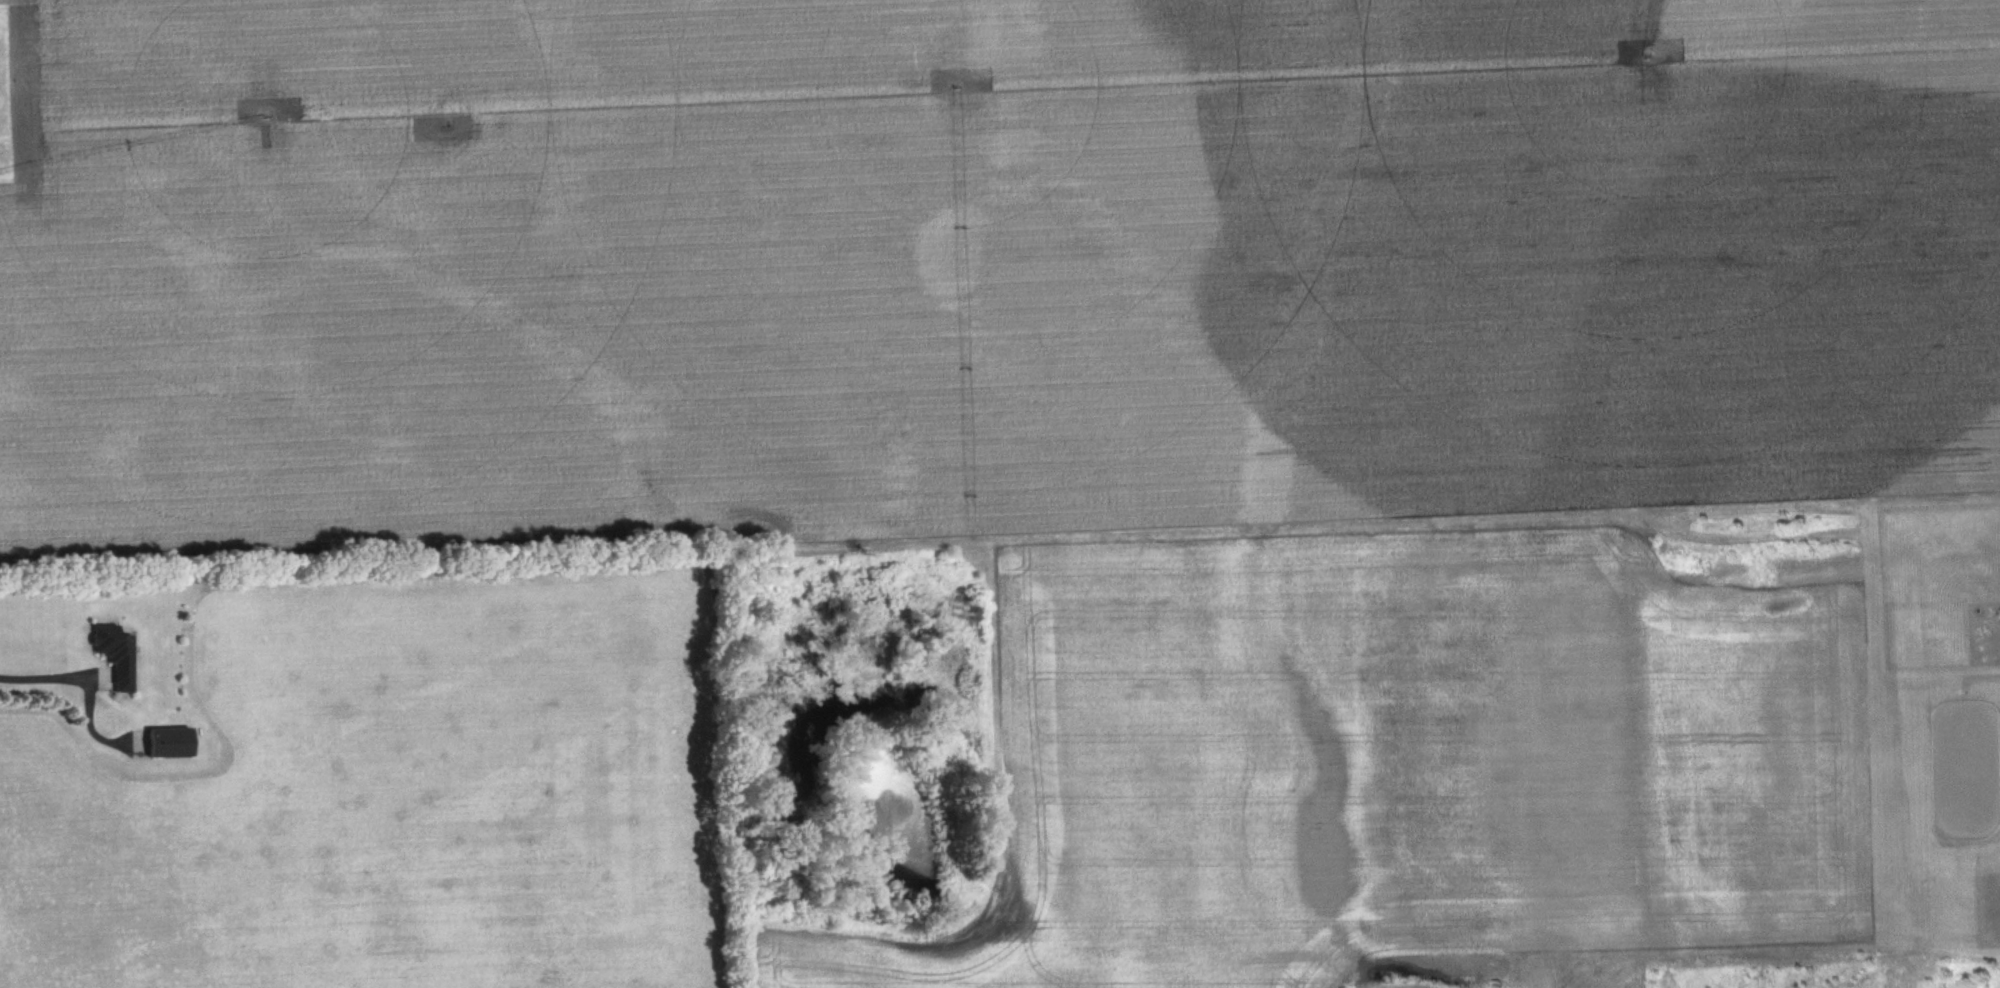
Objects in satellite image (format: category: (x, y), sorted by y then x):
crop: (984, 267)
building: (118, 657)
road: (44, 670)
building: (173, 745)
crop: (1160, 766)
crop: (402, 787)

